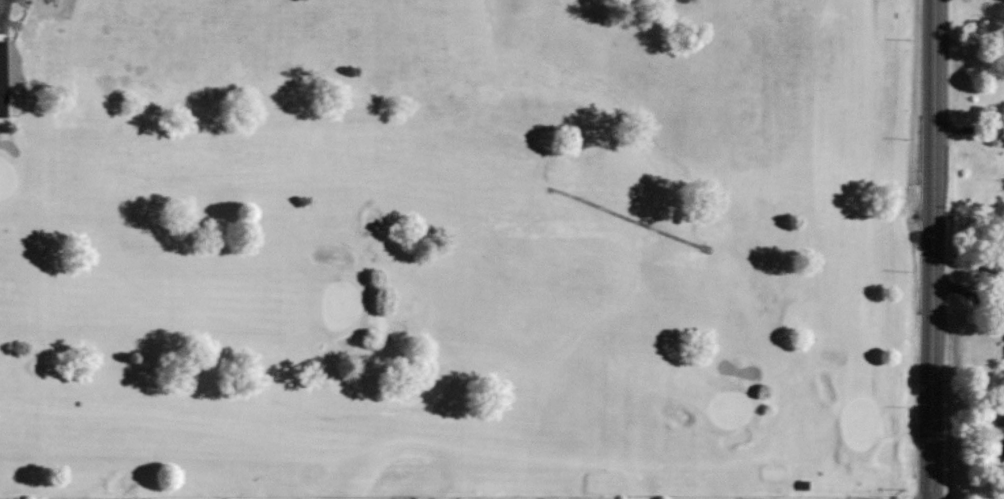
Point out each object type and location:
road: (951, 41)
road: (986, 41)
road: (17, 54)
road: (985, 55)
building: (4, 75)
road: (968, 128)
park: (8, 175)
road: (634, 215)
park: (459, 249)
road: (932, 249)
park: (345, 302)
park: (861, 421)
building: (806, 483)

